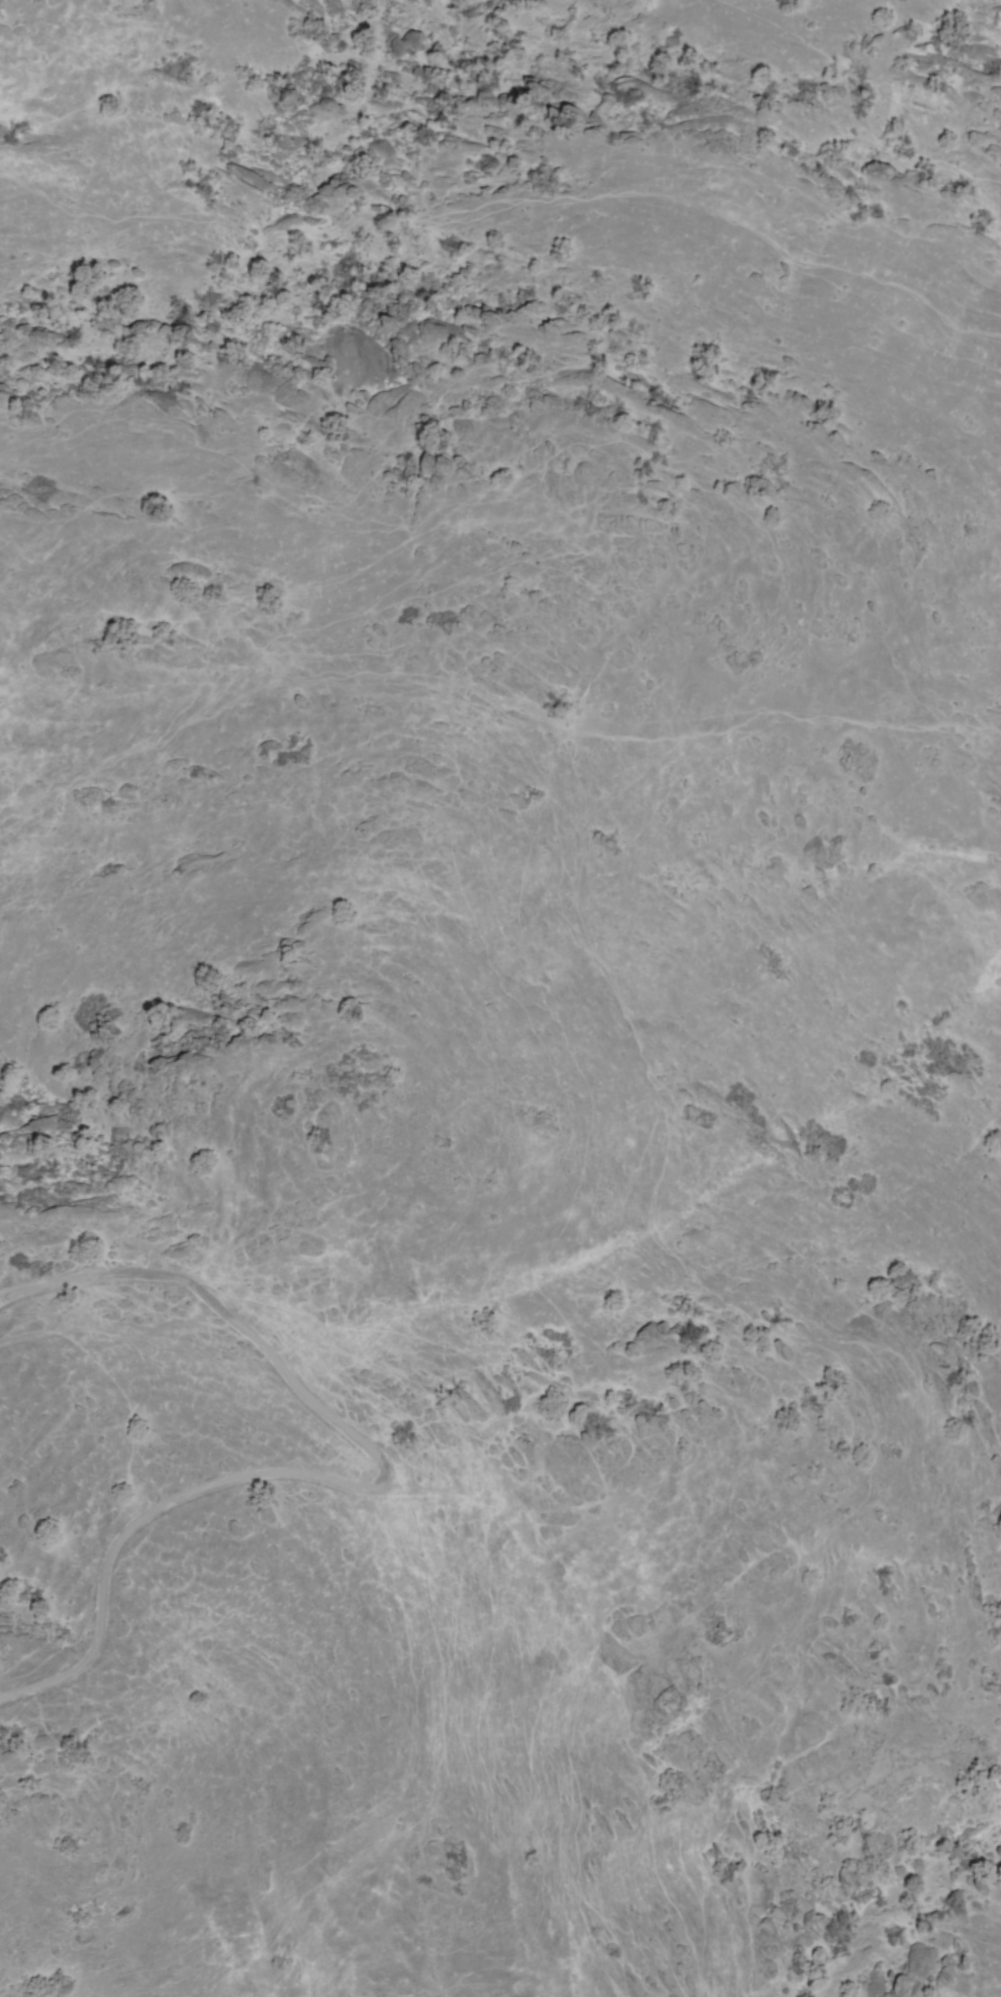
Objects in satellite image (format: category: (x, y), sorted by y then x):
road: (366, 1488)

